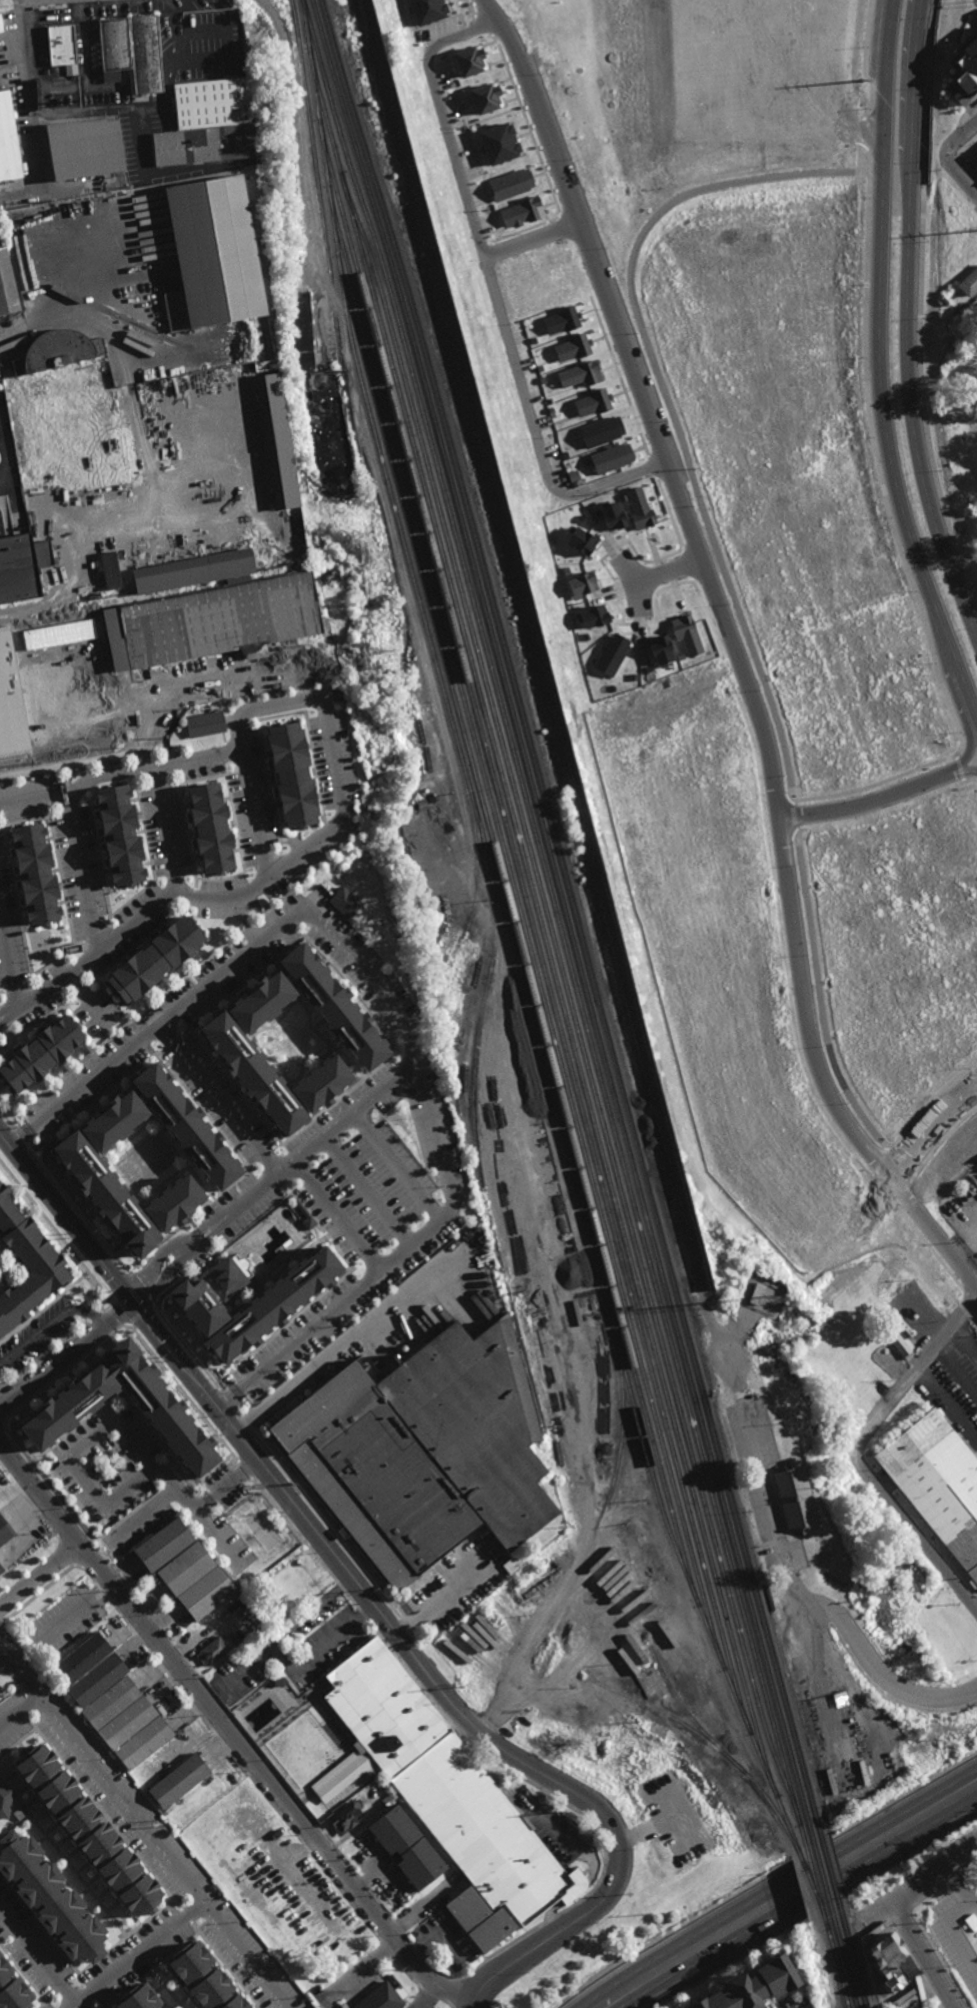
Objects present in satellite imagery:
road: (491, 9)
building: (427, 10)
building: (1, 24)
building: (116, 44)
building: (63, 49)
road: (26, 54)
building: (147, 55)
road: (866, 60)
building: (469, 61)
building: (966, 72)
power tower: (861, 80)
building: (485, 98)
building: (211, 103)
road: (150, 104)
road: (862, 116)
road: (867, 134)
road: (959, 136)
building: (8, 142)
building: (498, 143)
building: (206, 145)
building: (86, 149)
road: (863, 151)
road: (870, 162)
road: (968, 165)
road: (39, 169)
road: (960, 172)
building: (510, 184)
railway: (321, 207)
building: (521, 213)
road: (533, 237)
building: (212, 254)
building: (969, 283)
building: (7, 285)
road: (498, 290)
road: (69, 297)
road: (919, 305)
road: (905, 318)
building: (560, 321)
building: (300, 331)
building: (58, 347)
building: (571, 348)
road: (879, 366)
building: (579, 375)
road: (666, 399)
building: (591, 403)
building: (600, 431)
road: (1, 439)
building: (276, 439)
road: (5, 452)
building: (610, 458)
building: (638, 508)
building: (611, 516)
building: (580, 541)
road: (901, 552)
road: (668, 569)
building: (110, 570)
building: (191, 570)
building: (17, 572)
road: (632, 578)
building: (581, 584)
road: (716, 595)
building: (593, 616)
building: (212, 623)
building: (685, 634)
building: (659, 650)
building: (610, 654)
road: (211, 678)
building: (49, 688)
building: (204, 724)
road: (328, 733)
road: (971, 739)
road: (69, 762)
road: (967, 769)
building: (291, 775)
road: (967, 779)
road: (33, 795)
road: (871, 801)
road: (253, 812)
road: (792, 816)
road: (164, 829)
building: (210, 829)
building: (119, 834)
building: (36, 873)
railway: (477, 886)
building: (344, 902)
railway: (525, 907)
railway: (574, 912)
railway: (565, 913)
railway: (557, 914)
railway: (537, 919)
railway: (510, 920)
railway: (522, 927)
railway: (507, 933)
road: (9, 958)
building: (155, 959)
railway: (511, 968)
road: (376, 988)
road: (820, 997)
road: (86, 999)
railway: (567, 1001)
road: (7, 1013)
building: (36, 1030)
building: (44, 1035)
building: (361, 1044)
building: (51, 1051)
building: (103, 1057)
building: (15, 1072)
road: (927, 1103)
building: (245, 1114)
road: (929, 1126)
road: (19, 1133)
railway: (477, 1153)
building: (213, 1163)
road: (877, 1164)
road: (896, 1165)
road: (395, 1168)
building: (145, 1189)
road: (882, 1192)
road: (883, 1192)
road: (365, 1193)
road: (900, 1193)
building: (173, 1203)
railway: (564, 1212)
road: (933, 1231)
road: (58, 1234)
railway: (594, 1241)
road: (403, 1251)
building: (27, 1267)
building: (249, 1299)
road: (95, 1317)
road: (49, 1326)
road: (350, 1342)
road: (964, 1344)
building: (900, 1346)
road: (66, 1348)
road: (45, 1355)
road: (61, 1360)
road: (161, 1362)
road: (957, 1370)
parking lot: (960, 1370)
road: (914, 1373)
building: (93, 1394)
road: (229, 1397)
road: (946, 1411)
road: (204, 1418)
road: (108, 1437)
building: (423, 1456)
building: (938, 1483)
railway: (612, 1487)
building: (156, 1496)
building: (794, 1498)
road: (776, 1504)
road: (781, 1513)
building: (3, 1532)
road: (914, 1532)
road: (332, 1535)
building: (128, 1537)
road: (788, 1543)
building: (161, 1545)
building: (656, 1559)
building: (0, 1570)
building: (183, 1570)
building: (294, 1571)
road: (39, 1575)
building: (217, 1577)
building: (536, 1583)
building: (224, 1587)
road: (367, 1596)
building: (250, 1597)
road: (444, 1597)
building: (242, 1608)
building: (182, 1609)
road: (365, 1617)
building: (493, 1617)
road: (828, 1618)
building: (197, 1633)
road: (403, 1644)
building: (211, 1651)
road: (284, 1655)
building: (79, 1660)
road: (884, 1677)
road: (819, 1679)
building: (95, 1681)
road: (887, 1697)
building: (109, 1702)
road: (222, 1708)
road: (19, 1712)
railway: (670, 1716)
building: (124, 1721)
road: (211, 1726)
building: (656, 1729)
road: (230, 1733)
building: (141, 1741)
railway: (714, 1742)
building: (177, 1780)
building: (445, 1785)
road: (547, 1793)
building: (389, 1800)
building: (5, 1802)
road: (572, 1808)
building: (344, 1818)
road: (596, 1828)
building: (392, 1829)
building: (87, 1830)
road: (145, 1831)
railway: (795, 1843)
building: (419, 1863)
railway: (806, 1869)
railway: (831, 1870)
railway: (822, 1873)
railway: (813, 1875)
road: (766, 1878)
road: (960, 1890)
road: (791, 1895)
road: (973, 1898)
building: (51, 1903)
road: (813, 1911)
road: (898, 1913)
road: (901, 1914)
building: (479, 1919)
road: (547, 1921)
road: (916, 1924)
road: (955, 1933)
parking lot: (956, 1933)
road: (137, 1955)
road: (39, 1958)
building: (886, 1959)
railway: (854, 1961)
railway: (846, 1962)
railway: (837, 1963)
road: (915, 1964)
road: (359, 1974)
building: (207, 1980)
building: (750, 1985)
building: (13, 1989)
road: (428, 1992)
road: (450, 1992)
road: (430, 1997)
building: (139, 1998)
building: (381, 1998)
road: (442, 2001)
road: (449, 2006)
parking lot: (932, 2007)
road: (952, 2007)

